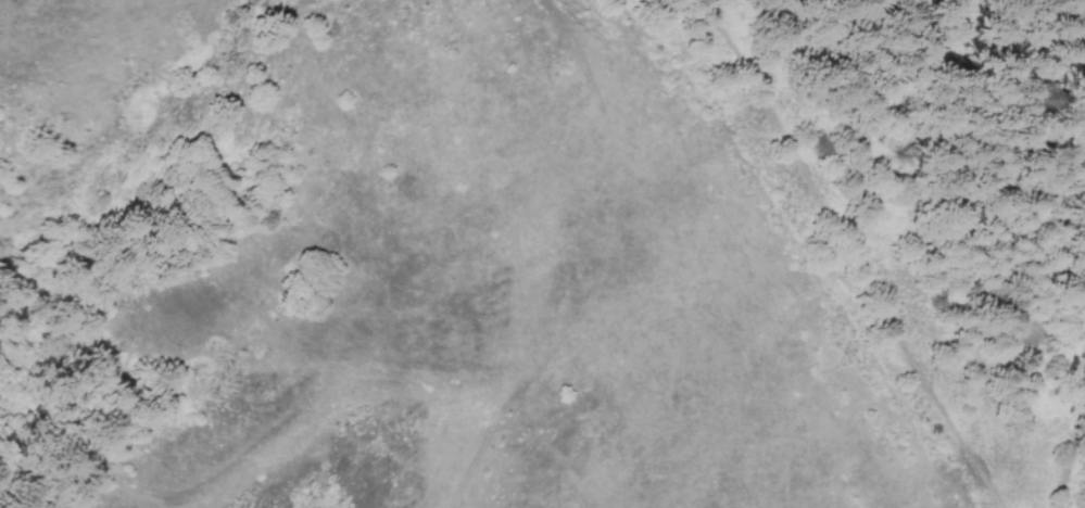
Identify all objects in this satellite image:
road: (854, 251)
road: (1069, 469)

